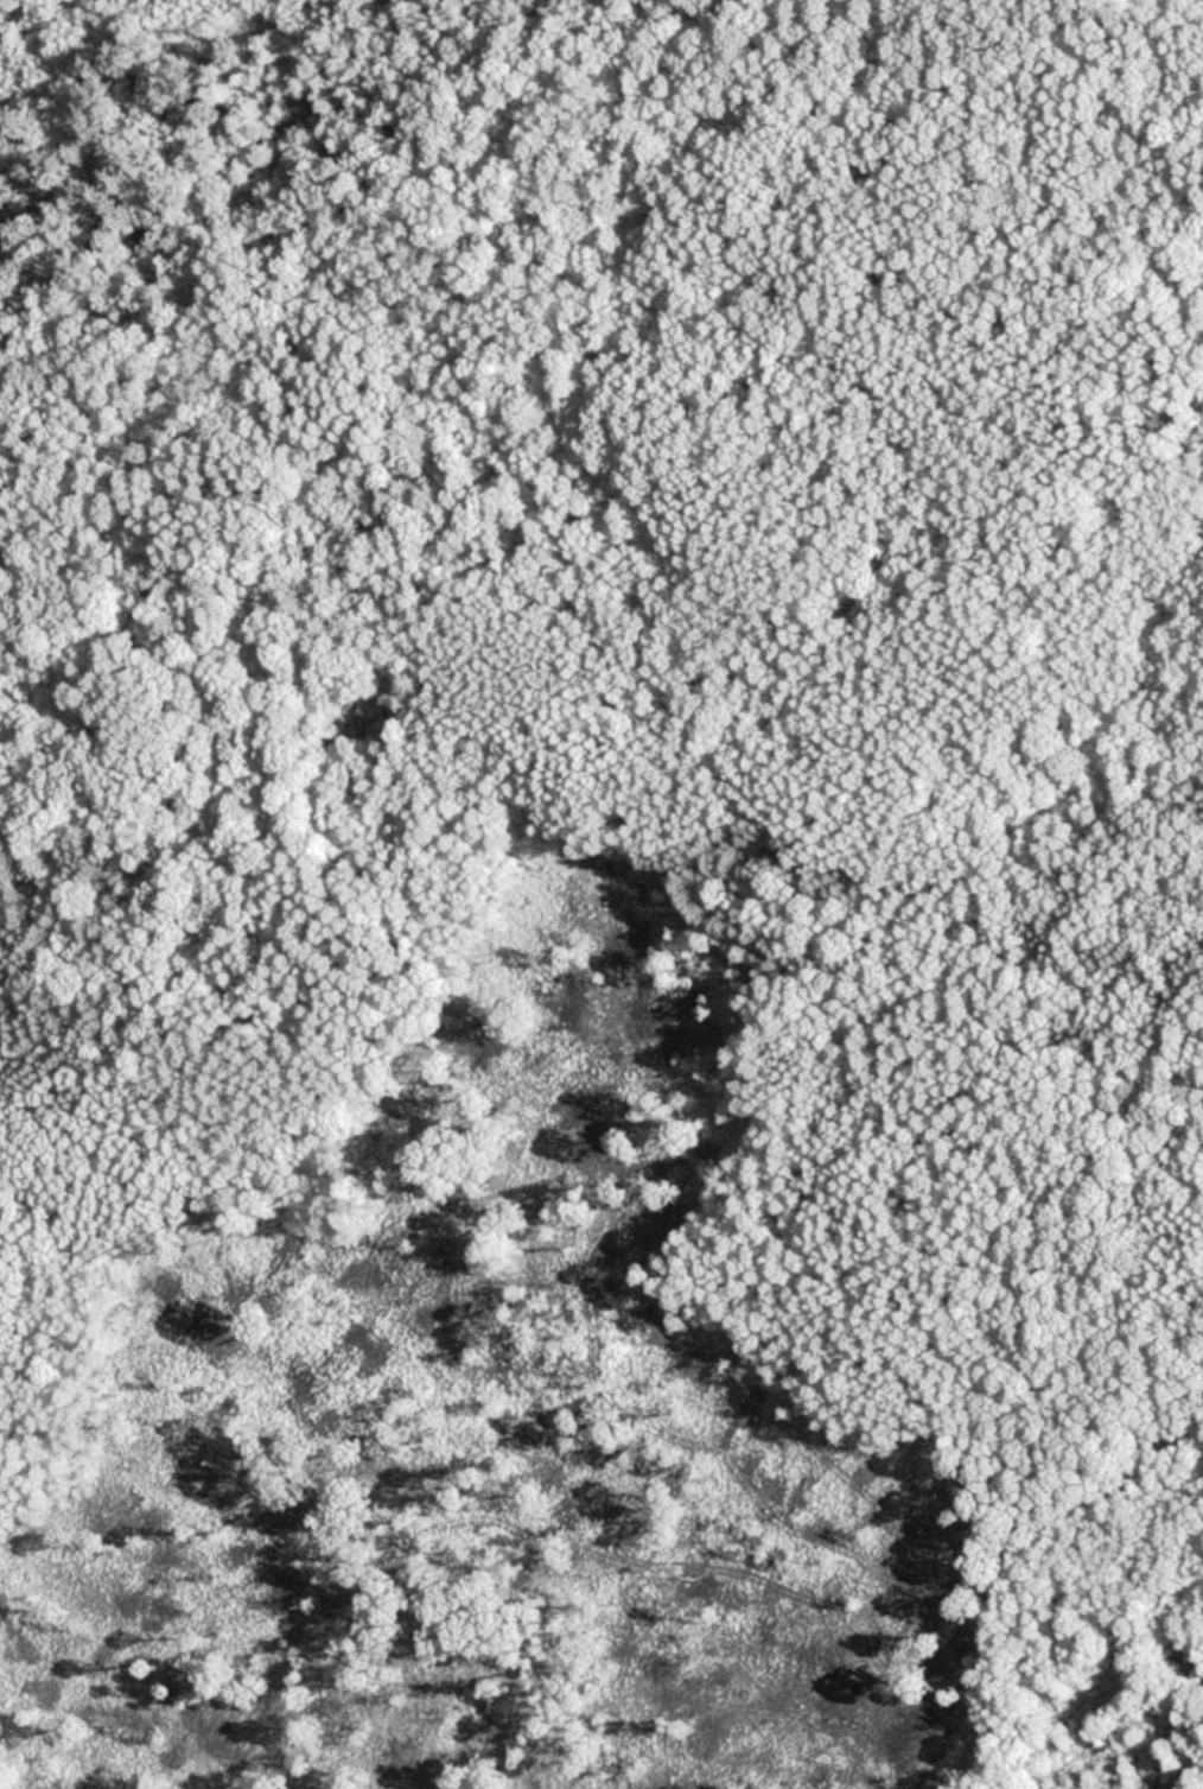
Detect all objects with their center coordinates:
road: (607, 807)
park: (601, 894)

